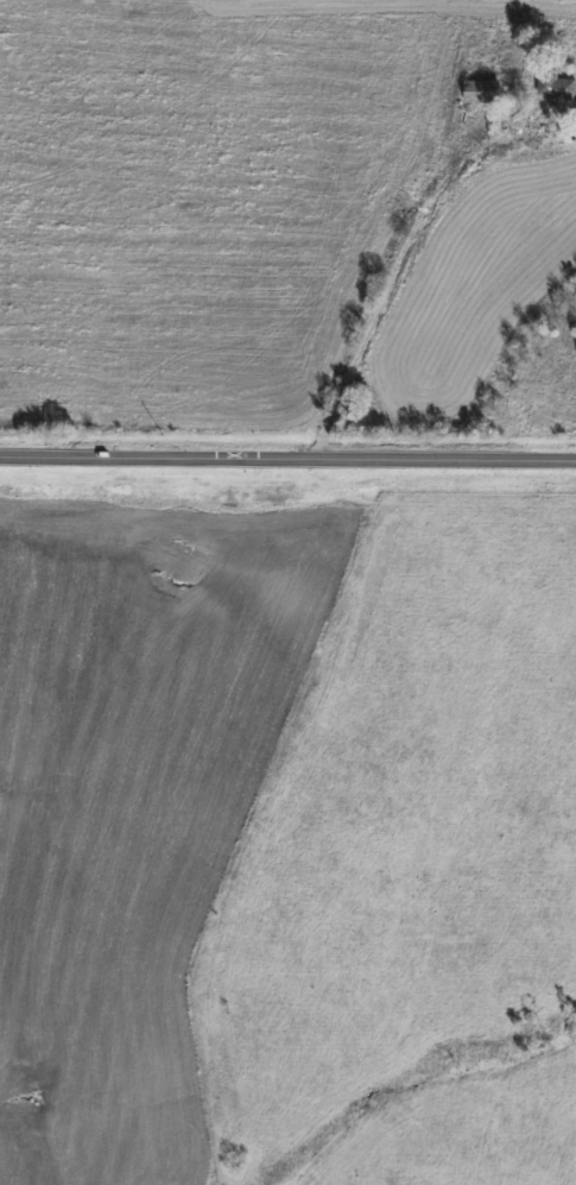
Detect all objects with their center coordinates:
building: (557, 89)
building: (481, 90)
road: (385, 285)
road: (287, 460)

